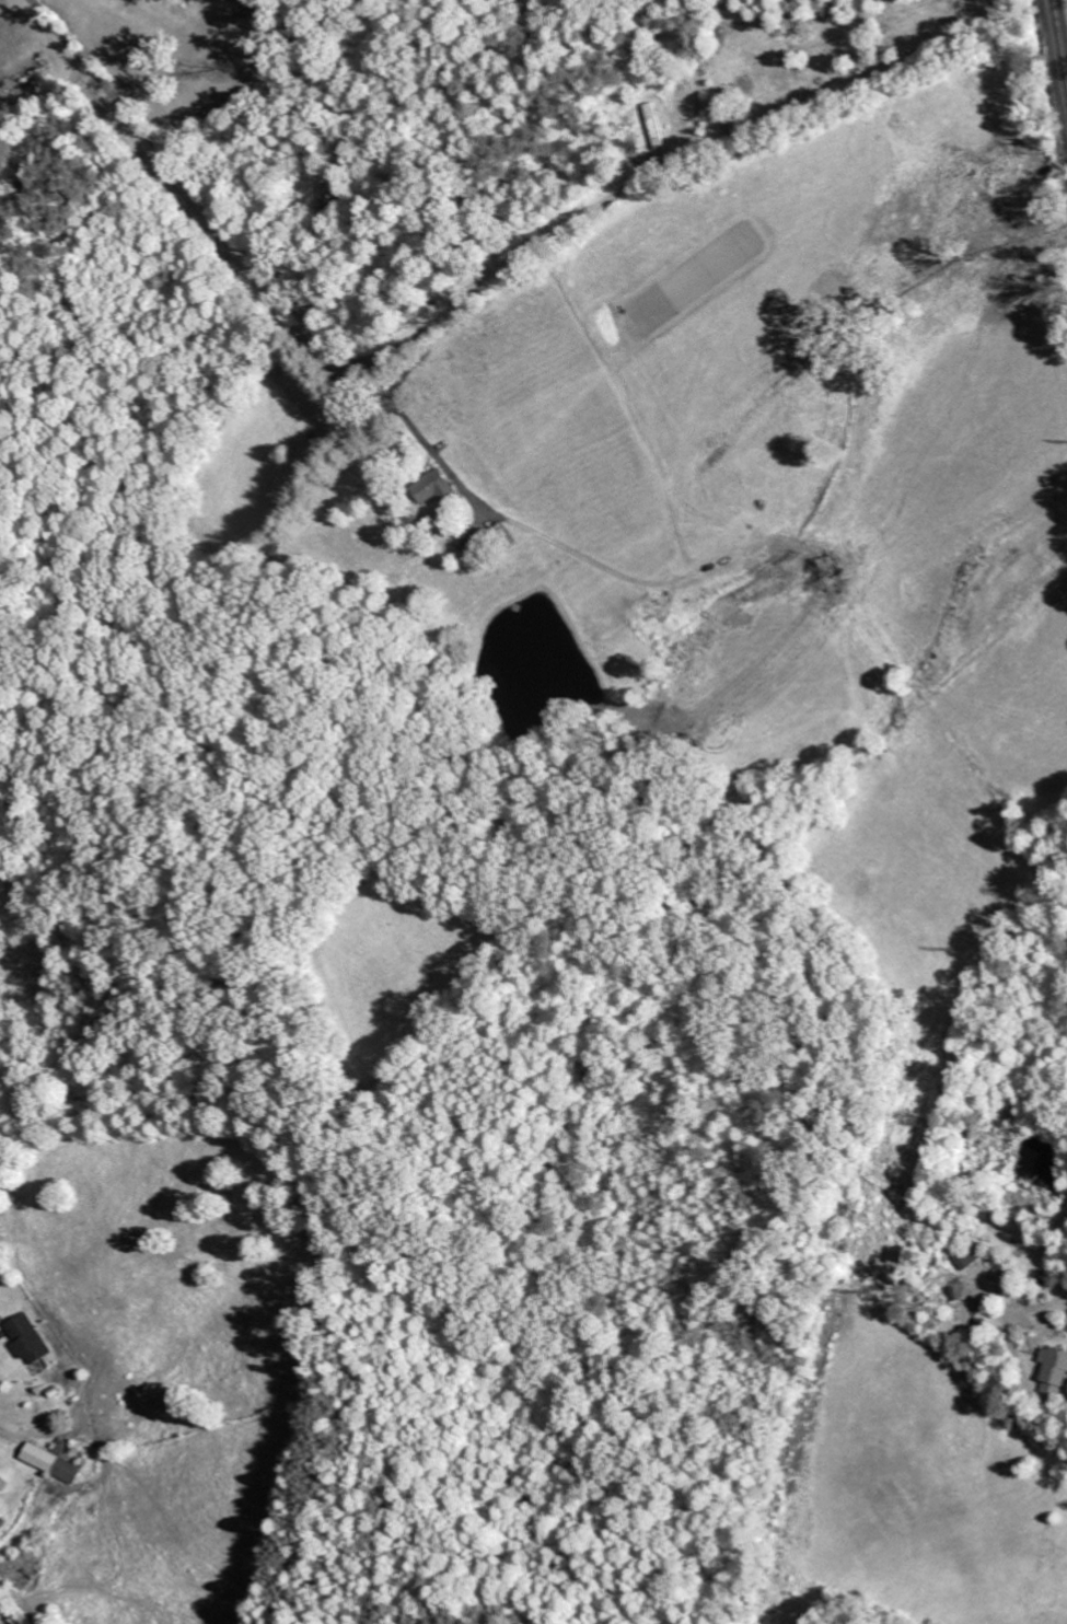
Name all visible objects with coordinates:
railway: (1065, 8)
railway: (1058, 45)
building: (334, 190)
road: (193, 192)
building: (437, 487)
road: (7, 683)
building: (30, 1339)
building: (1056, 1370)
building: (55, 1460)

